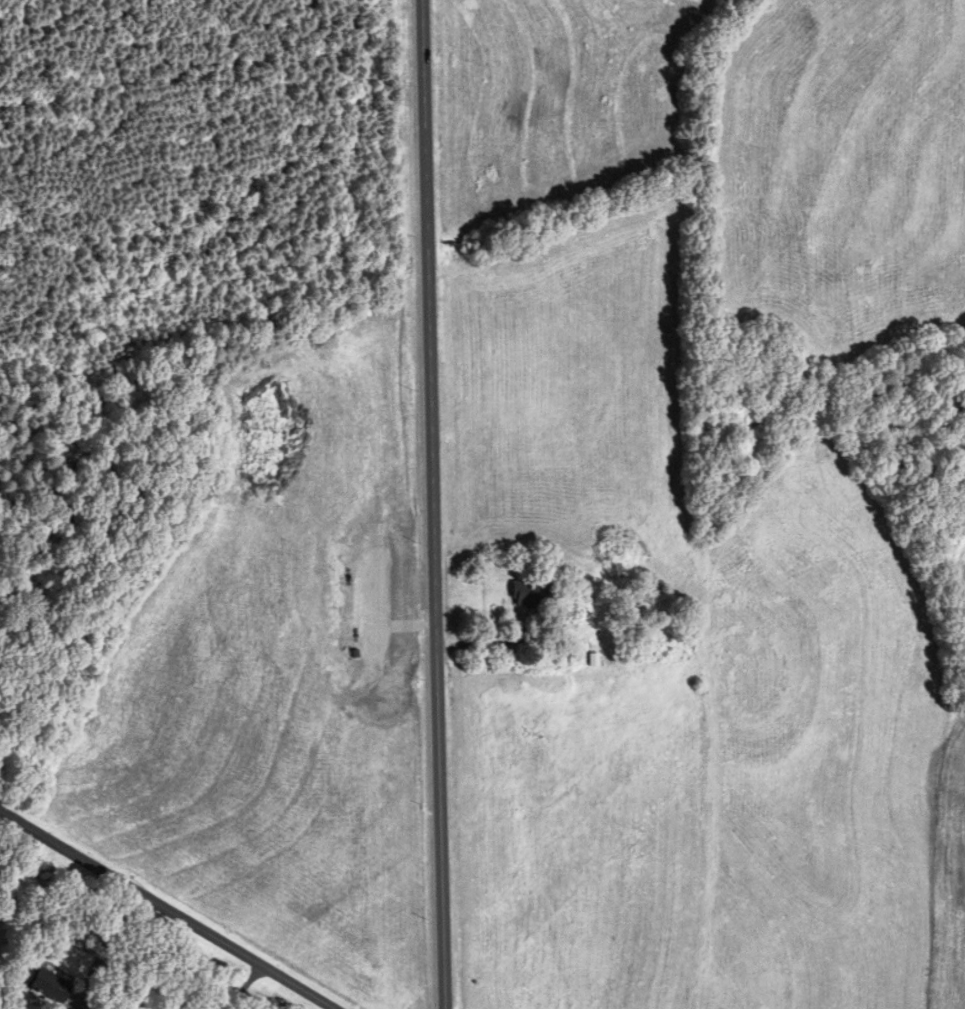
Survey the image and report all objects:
road: (435, 504)
building: (531, 594)
crop: (963, 594)
crop: (530, 686)
road: (165, 910)
road: (104, 945)
building: (47, 984)
road: (244, 986)

